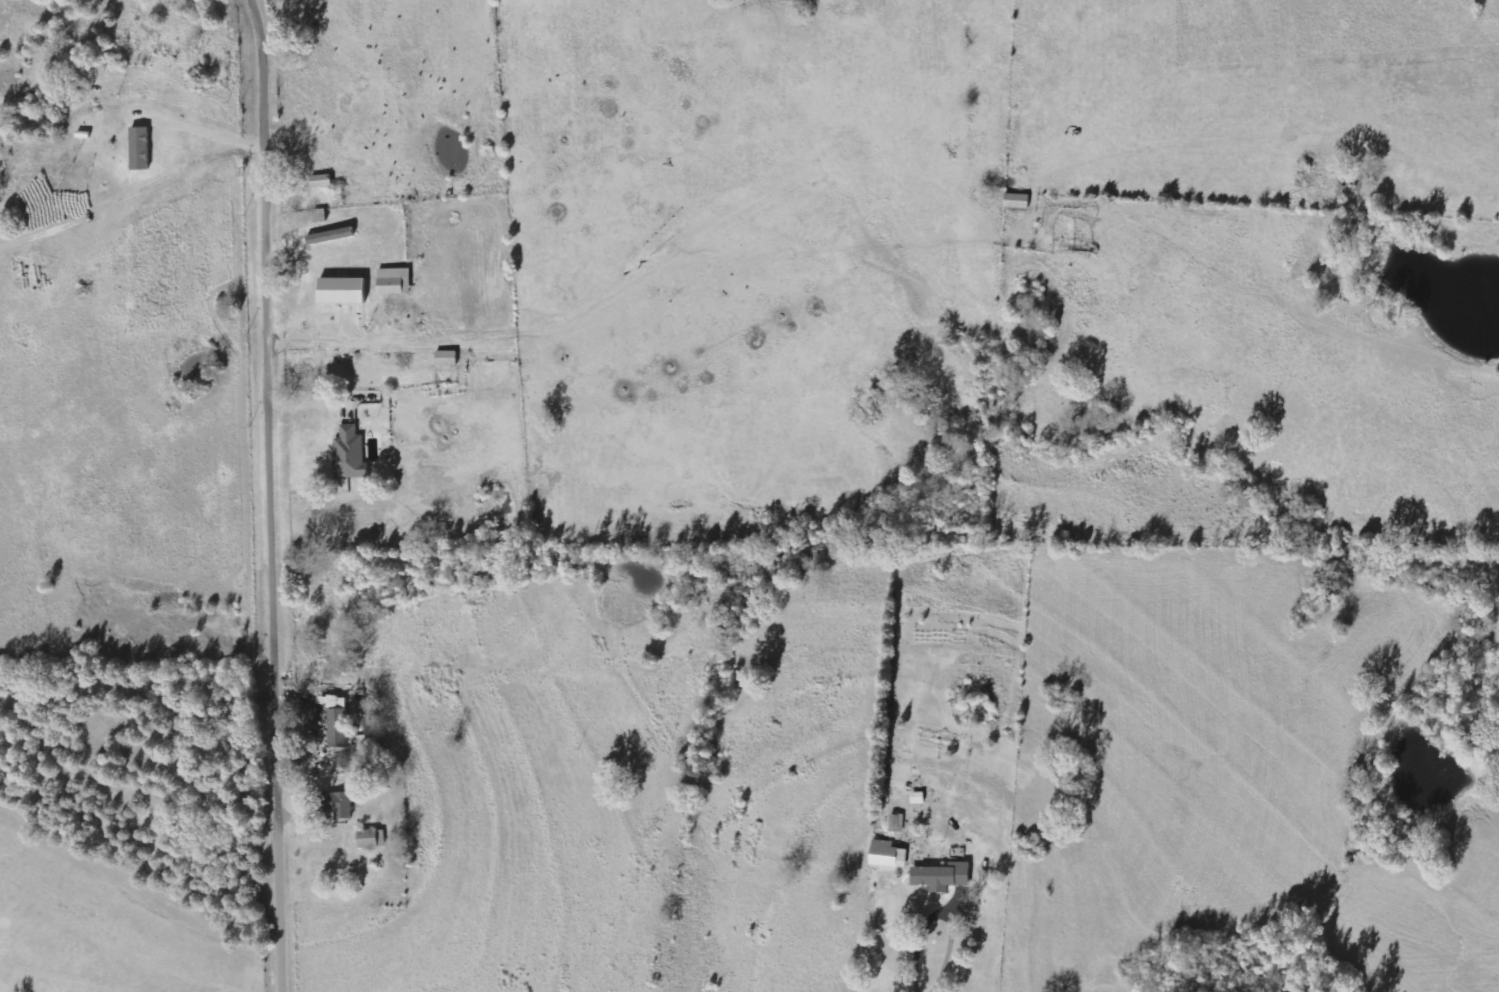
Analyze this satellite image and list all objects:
building: (142, 148)
building: (394, 281)
building: (345, 290)
building: (350, 453)
road: (280, 495)
building: (338, 719)
building: (340, 805)
building: (897, 823)
building: (373, 839)
building: (889, 855)
building: (944, 877)

